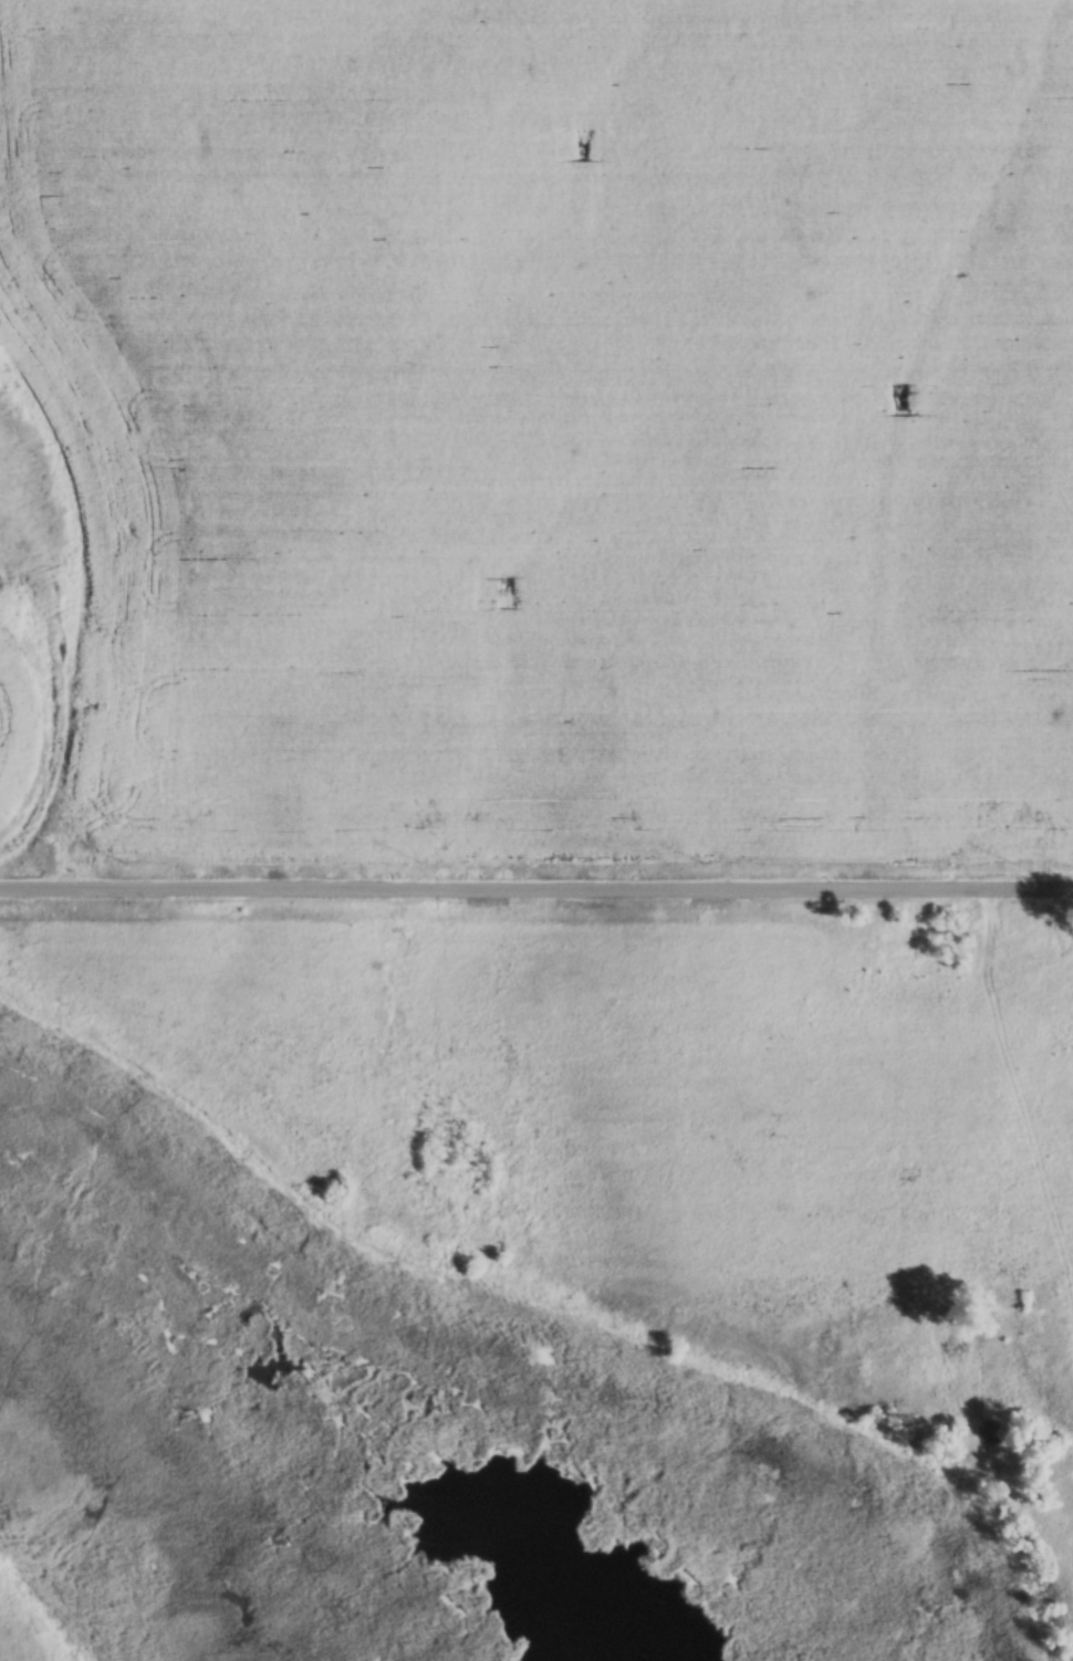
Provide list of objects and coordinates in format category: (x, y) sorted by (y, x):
road: (535, 888)

